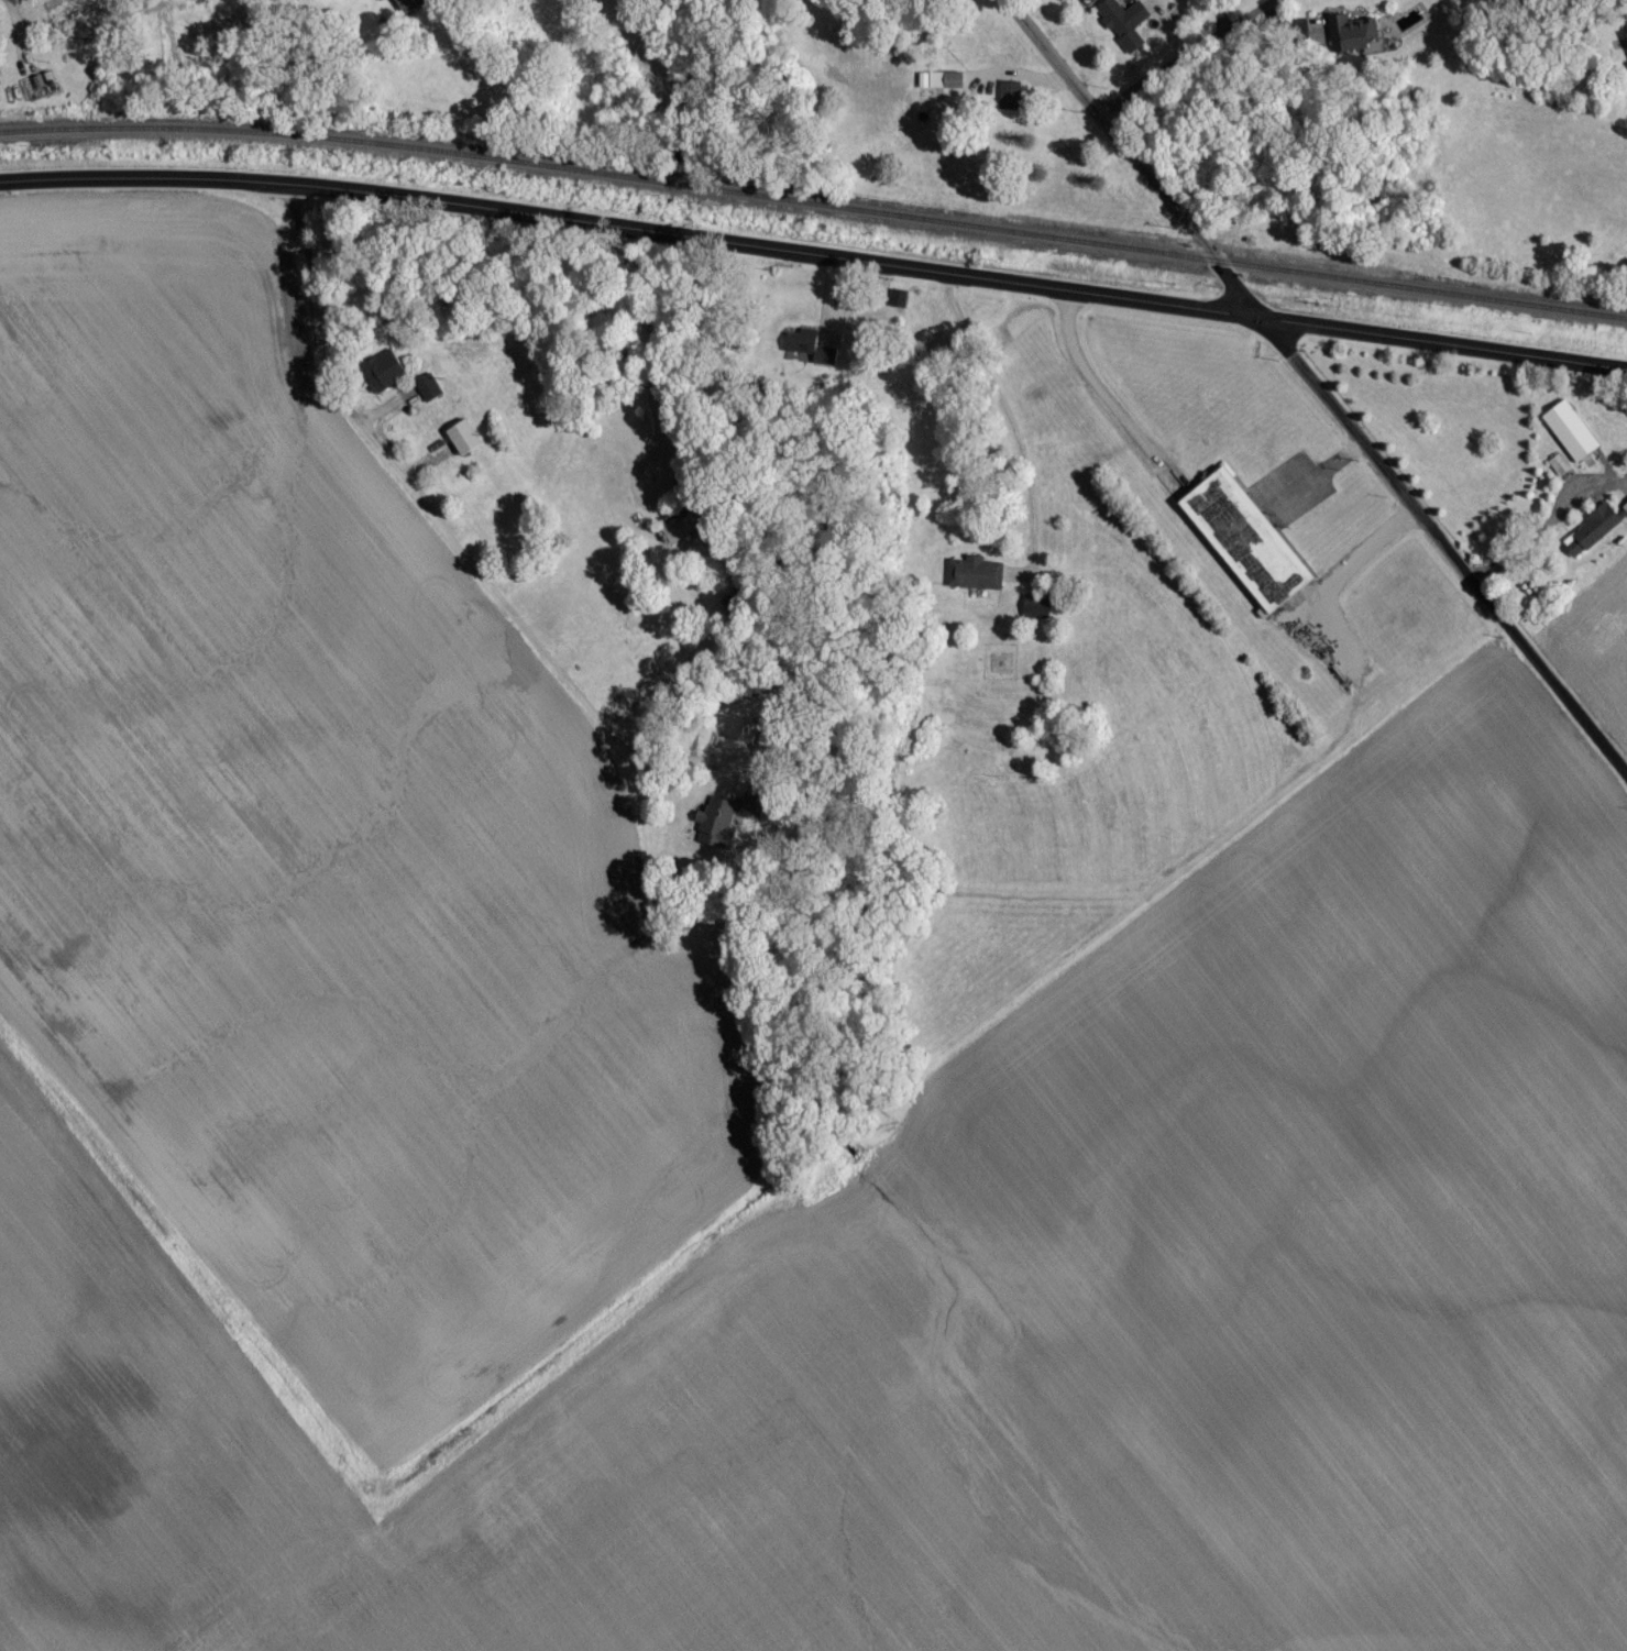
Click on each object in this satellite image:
building: (161, 0)
building: (408, 9)
building: (69, 16)
building: (1123, 23)
road: (1188, 59)
building: (955, 86)
building: (1011, 102)
road: (1130, 159)
railway: (814, 212)
road: (814, 258)
building: (394, 377)
road: (1098, 384)
building: (430, 395)
road: (661, 410)
road: (1009, 416)
building: (1571, 438)
building: (465, 444)
building: (1625, 513)
road: (443, 527)
road: (1549, 528)
building: (691, 529)
building: (1593, 538)
road: (1443, 546)
building: (1249, 547)
road: (1366, 565)
building: (1037, 612)
road: (661, 683)
building: (724, 825)

